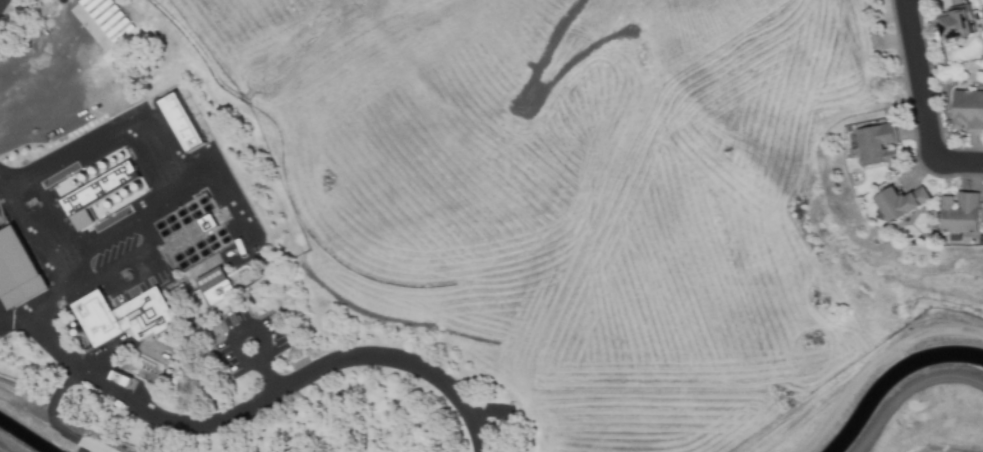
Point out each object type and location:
building: (982, 11)
building: (955, 22)
road: (45, 70)
road: (921, 101)
building: (967, 110)
building: (181, 121)
building: (875, 143)
road: (171, 148)
building: (103, 194)
building: (900, 201)
building: (958, 213)
building: (17, 267)
building: (214, 284)
road: (22, 316)
building: (123, 316)
road: (254, 325)
road: (873, 361)
road: (907, 388)
road: (56, 389)
road: (51, 421)
road: (198, 423)
road: (1, 451)

